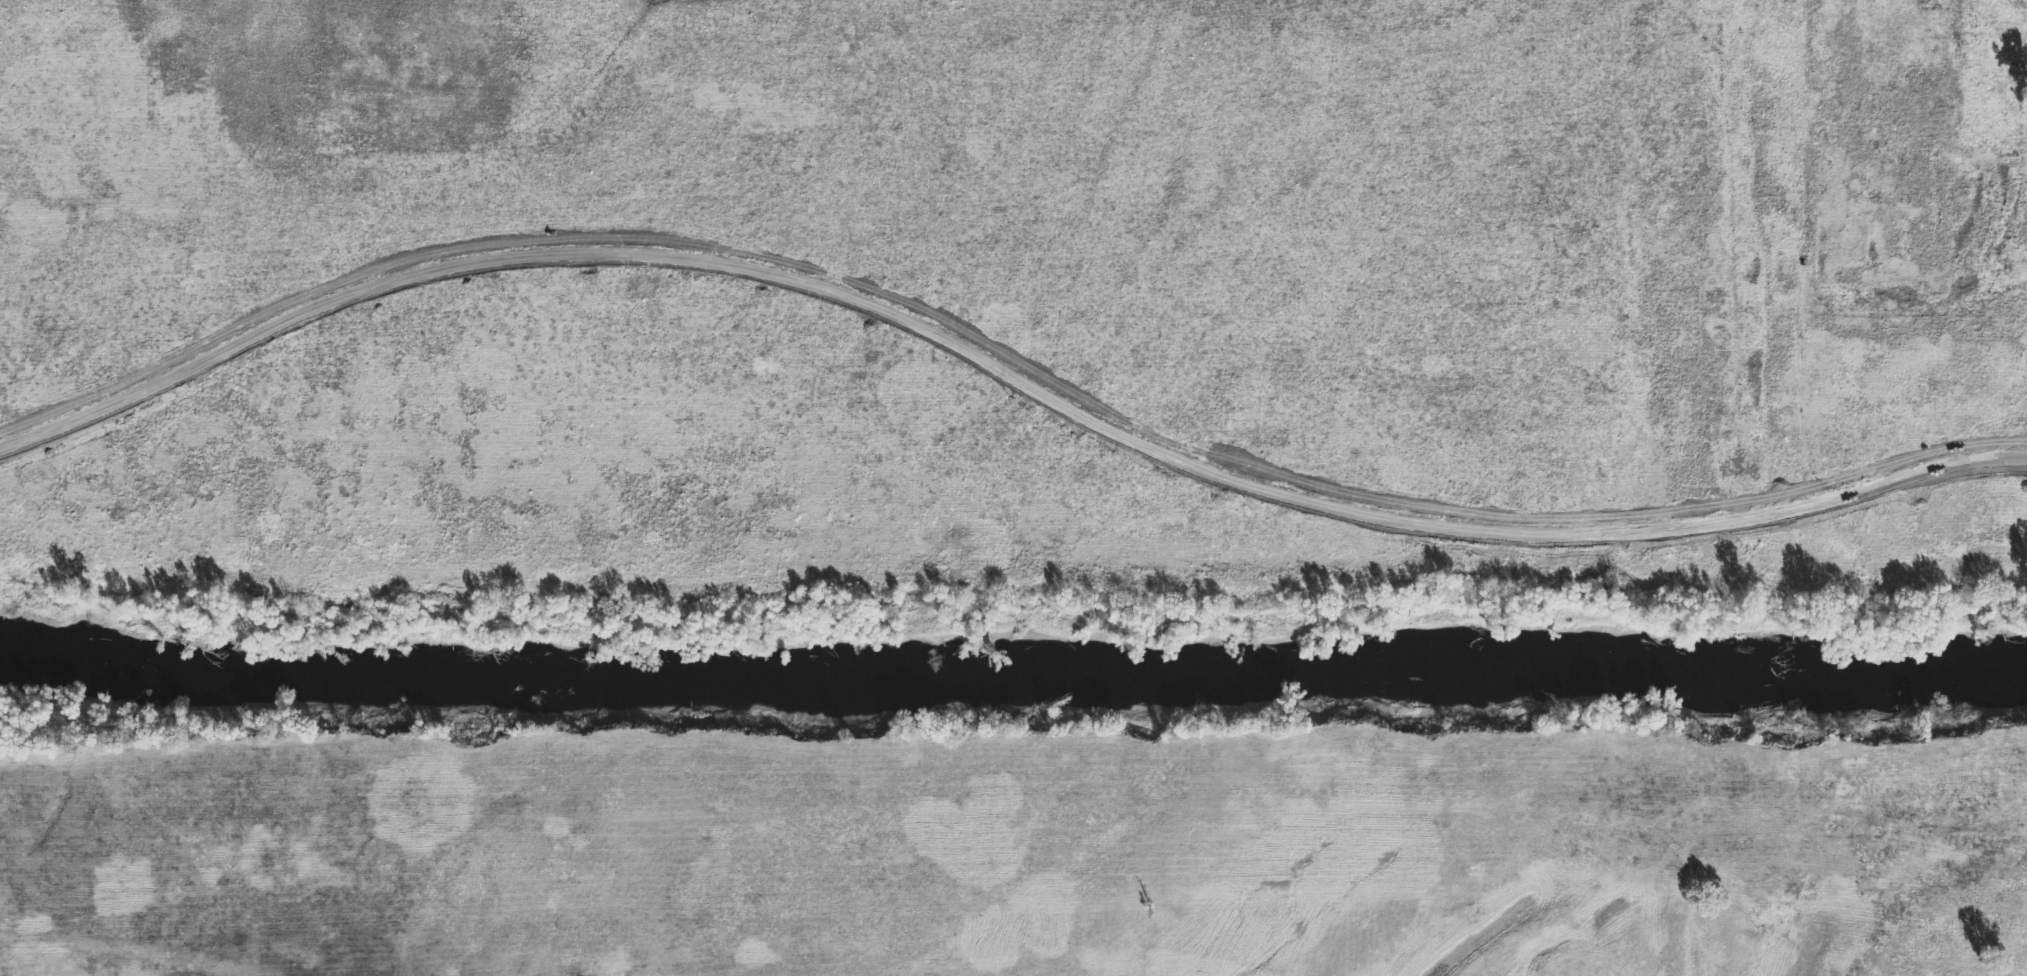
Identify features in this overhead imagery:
park: (1013, 488)
river: (1013, 661)

